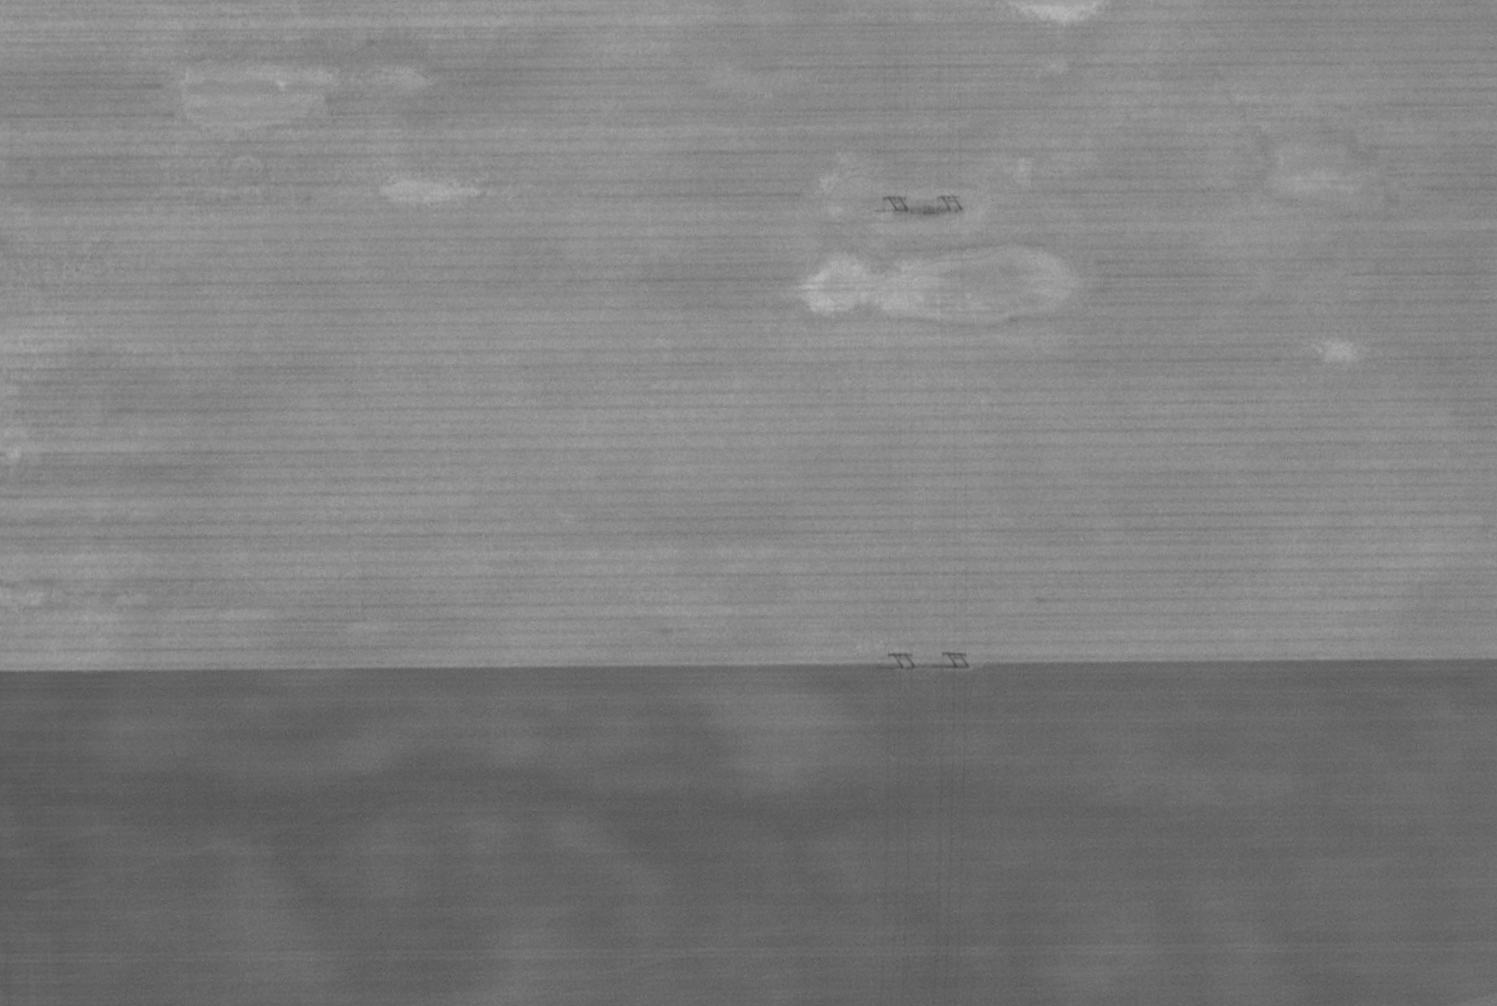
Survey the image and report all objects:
power tower: (953, 205)
power tower: (899, 206)
power tower: (956, 663)
power tower: (902, 664)

